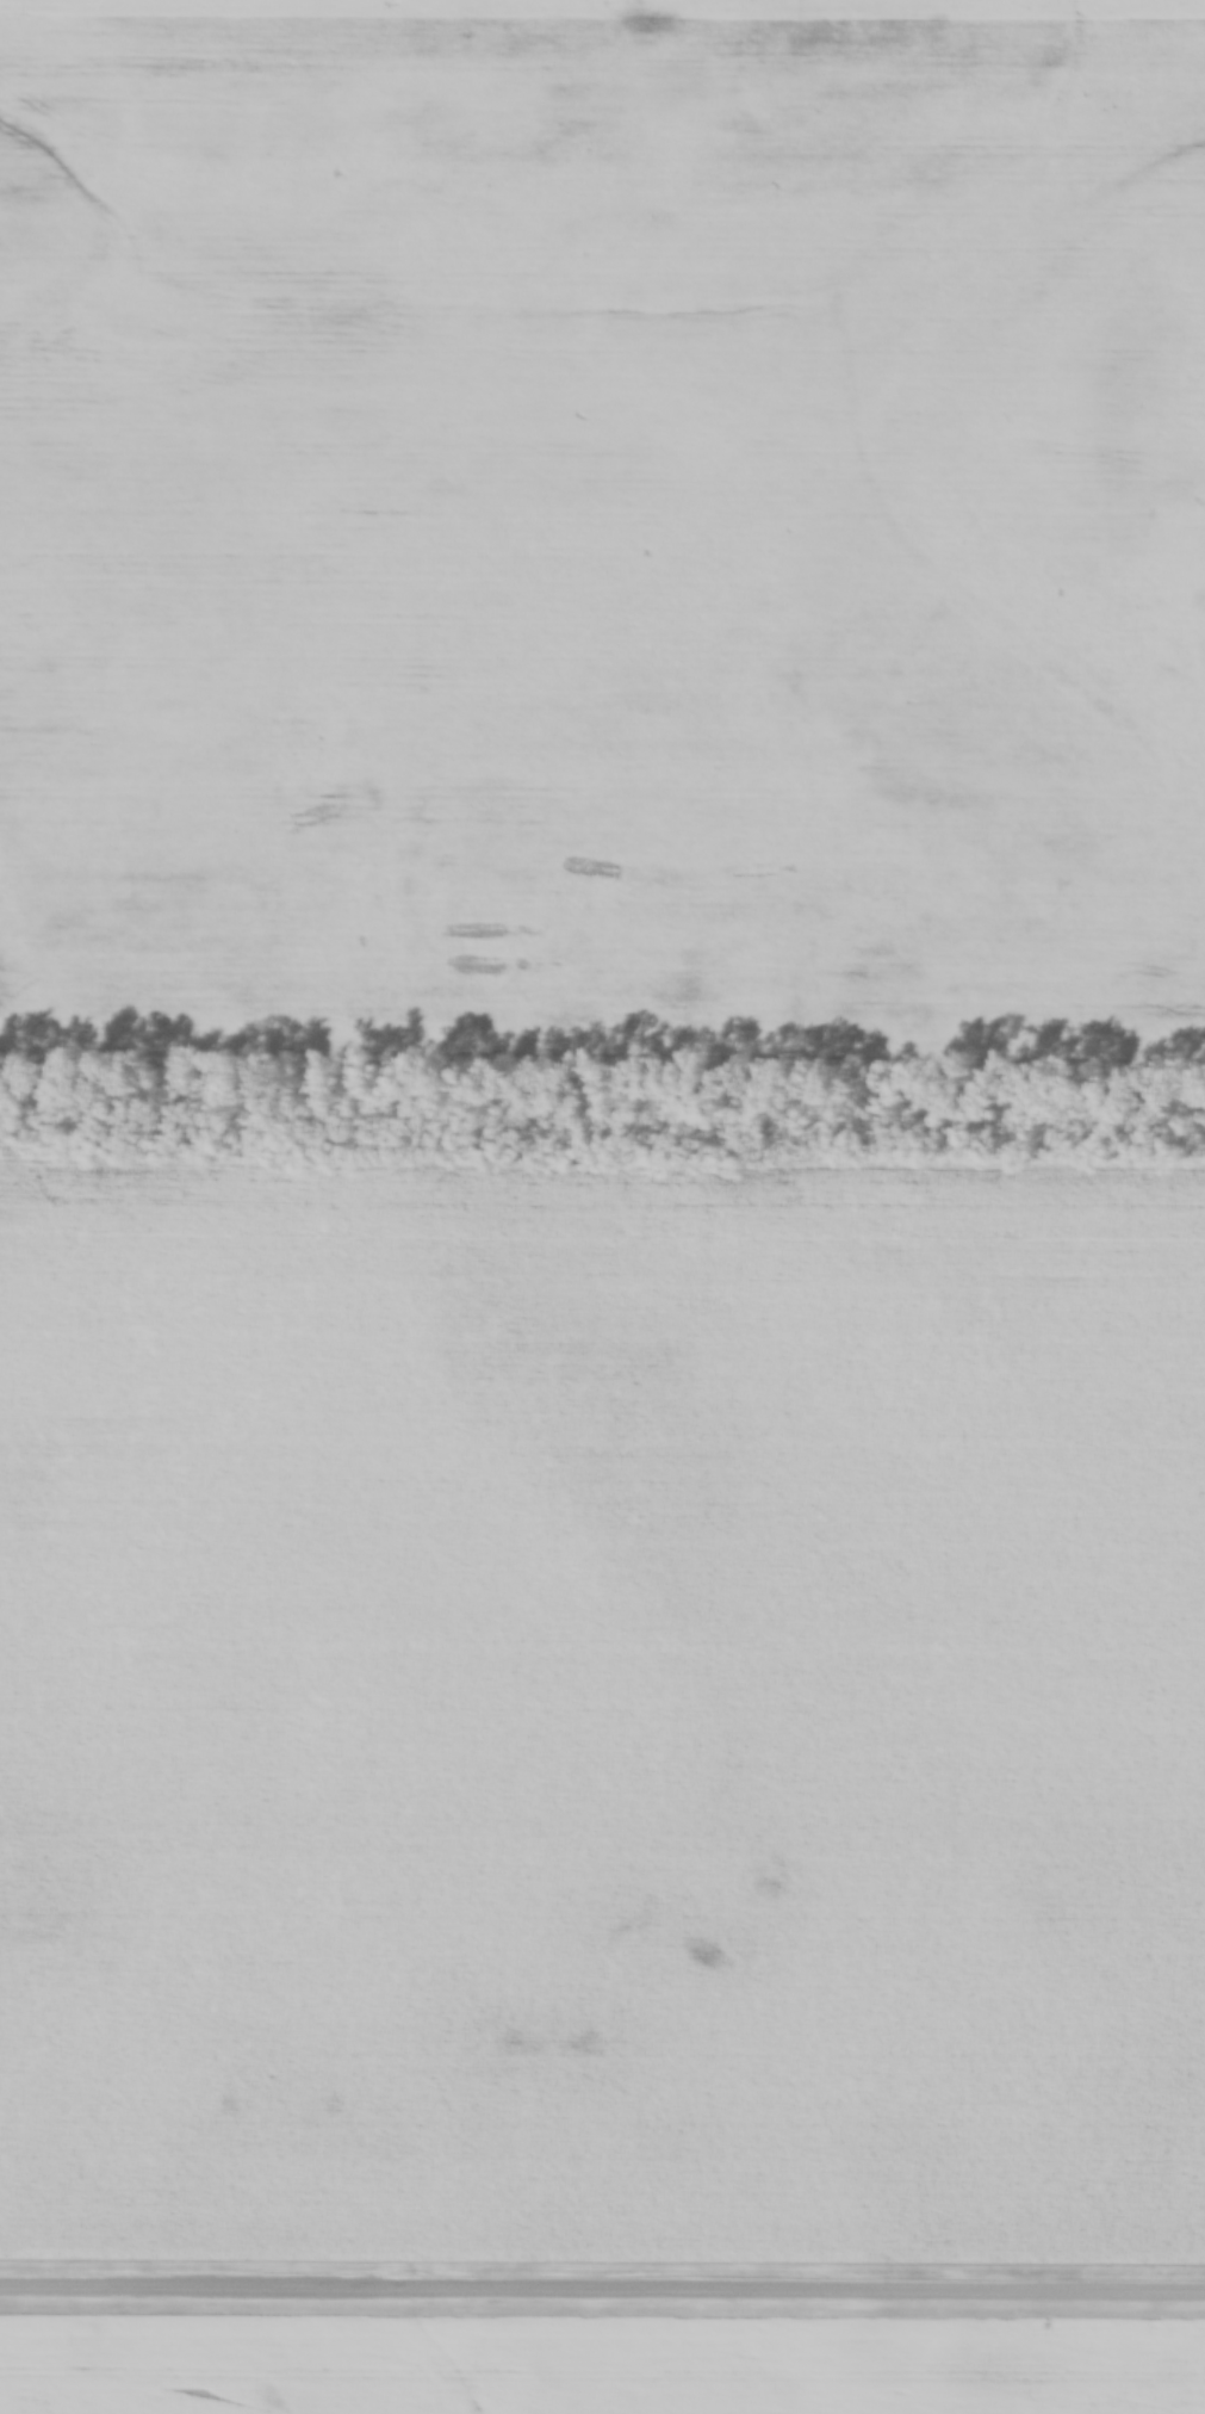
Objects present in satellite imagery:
road: (602, 2294)

